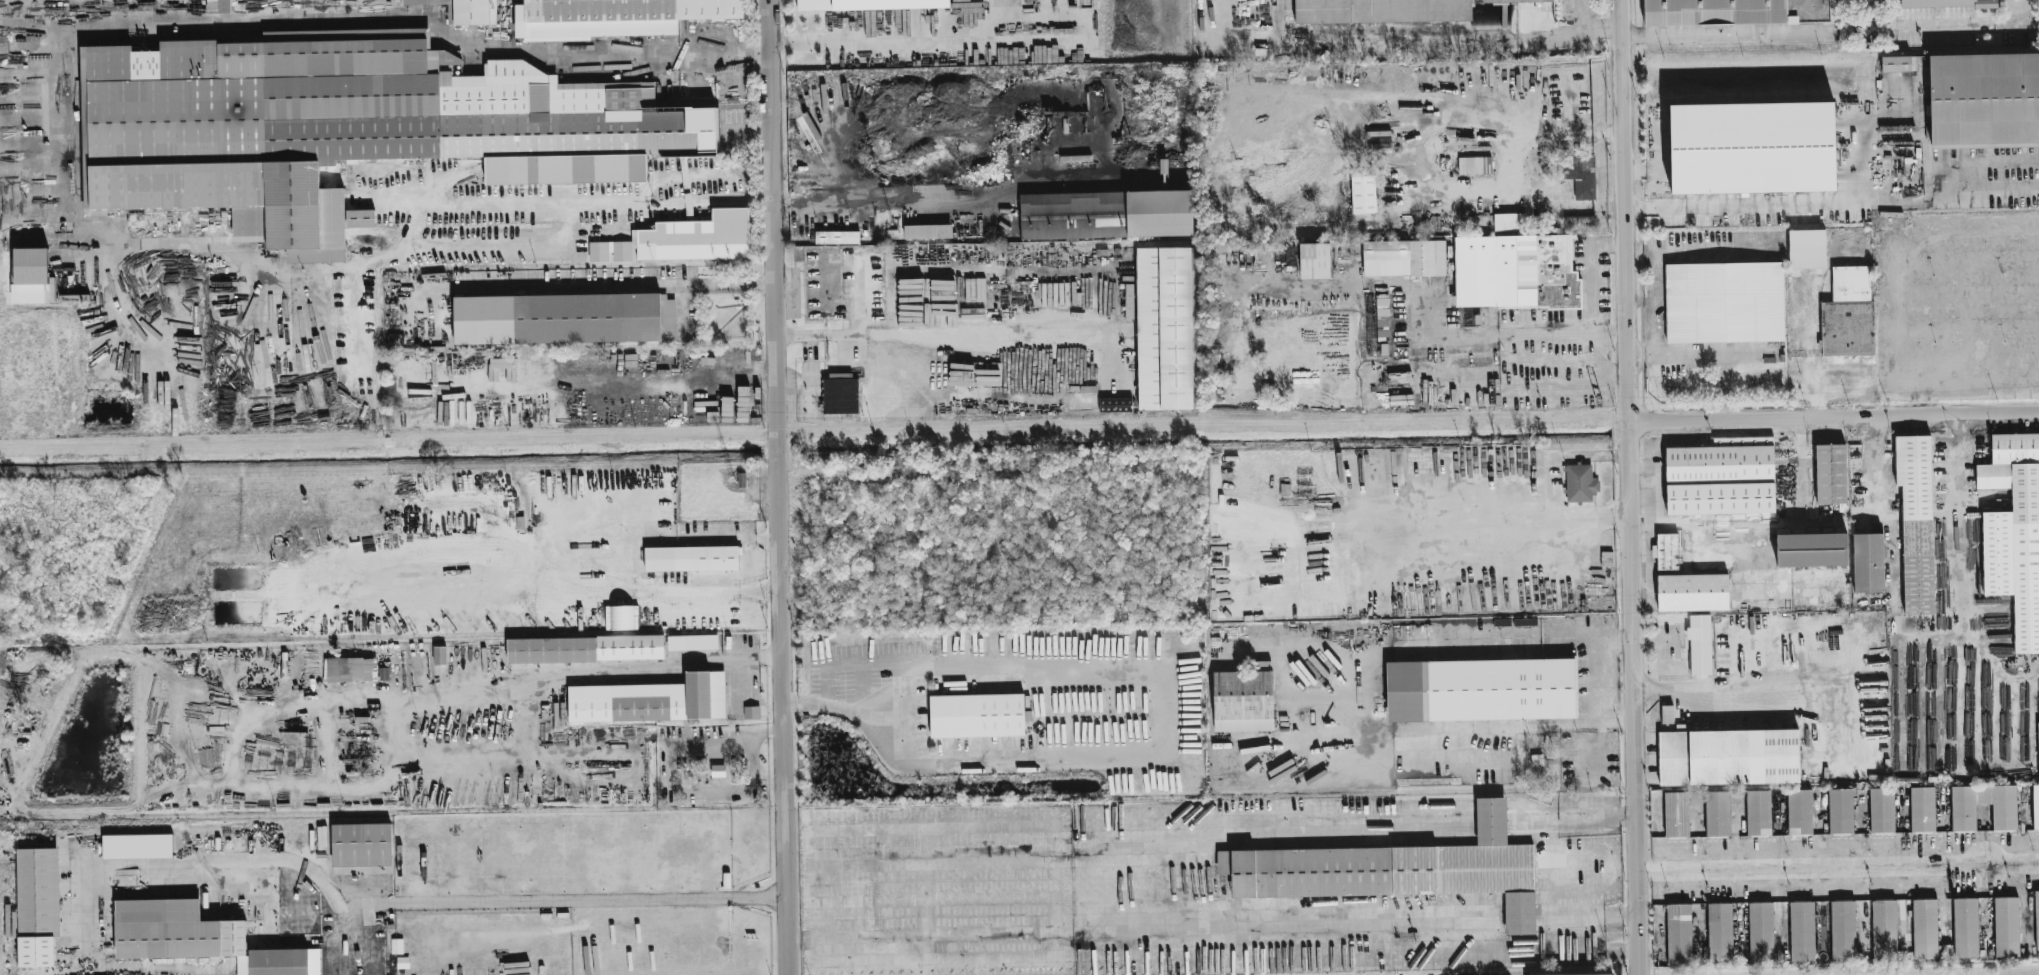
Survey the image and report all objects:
building: (414, 3)
building: (1955, 3)
building: (869, 5)
building: (218, 6)
building: (1389, 10)
building: (471, 12)
building: (1712, 12)
building: (615, 17)
road: (1573, 18)
road: (200, 27)
road: (1946, 28)
road: (1578, 35)
road: (893, 36)
building: (1896, 64)
building: (1984, 100)
building: (1030, 120)
building: (347, 127)
road: (1567, 132)
building: (1757, 151)
building: (1580, 175)
road: (1975, 178)
road: (1431, 187)
building: (1363, 194)
road: (711, 202)
road: (878, 202)
road: (1566, 207)
road: (1774, 211)
road: (522, 212)
building: (1105, 214)
building: (1508, 222)
building: (1578, 222)
building: (920, 232)
building: (836, 238)
building: (684, 240)
building: (1806, 249)
road: (490, 250)
building: (1403, 258)
building: (1314, 261)
building: (1514, 273)
road: (1593, 273)
building: (29, 276)
road: (616, 284)
road: (861, 297)
building: (1723, 303)
building: (1847, 314)
building: (1469, 317)
building: (564, 319)
building: (1164, 328)
road: (1564, 334)
road: (1460, 335)
road: (941, 339)
road: (1604, 364)
building: (840, 395)
building: (1115, 405)
road: (1836, 416)
road: (1873, 439)
building: (1830, 474)
building: (1721, 477)
building: (1579, 484)
road: (780, 487)
road: (1633, 487)
building: (1915, 521)
road: (1955, 525)
building: (2013, 533)
building: (1813, 550)
building: (1666, 552)
building: (691, 559)
road: (616, 562)
building: (1868, 562)
road: (1890, 578)
building: (1692, 592)
building: (692, 643)
building: (1699, 646)
building: (585, 649)
building: (439, 656)
building: (350, 668)
road: (610, 674)
road: (1606, 682)
road: (1714, 688)
building: (1507, 691)
road: (1412, 694)
building: (1246, 697)
building: (650, 701)
building: (976, 716)
road: (1162, 749)
building: (2038, 751)
building: (1728, 757)
road: (1443, 767)
road: (1490, 805)
road: (1449, 806)
road: (1524, 806)
building: (2035, 807)
building: (1922, 809)
building: (1881, 810)
building: (1840, 811)
building: (1799, 812)
building: (1758, 813)
building: (1675, 814)
building: (1717, 814)
road: (1490, 816)
road: (1523, 816)
road: (1451, 817)
road: (1589, 817)
building: (1962, 817)
road: (1524, 827)
road: (1451, 828)
road: (1490, 828)
building: (410, 832)
road: (1525, 835)
road: (1449, 838)
road: (1490, 839)
building: (361, 845)
building: (137, 847)
road: (1583, 856)
road: (216, 860)
building: (1397, 870)
road: (1616, 871)
road: (1839, 872)
road: (1179, 887)
road: (1584, 888)
road: (1054, 891)
road: (568, 899)
building: (38, 906)
road: (1551, 915)
building: (2036, 921)
building: (2005, 927)
building: (1965, 928)
building: (1924, 929)
building: (1883, 930)
building: (1843, 931)
building: (1760, 932)
building: (1801, 932)
building: (1719, 933)
building: (1678, 934)
building: (199, 938)
road: (902, 942)
building: (396, 947)
road: (925, 958)
building: (1610, 974)

